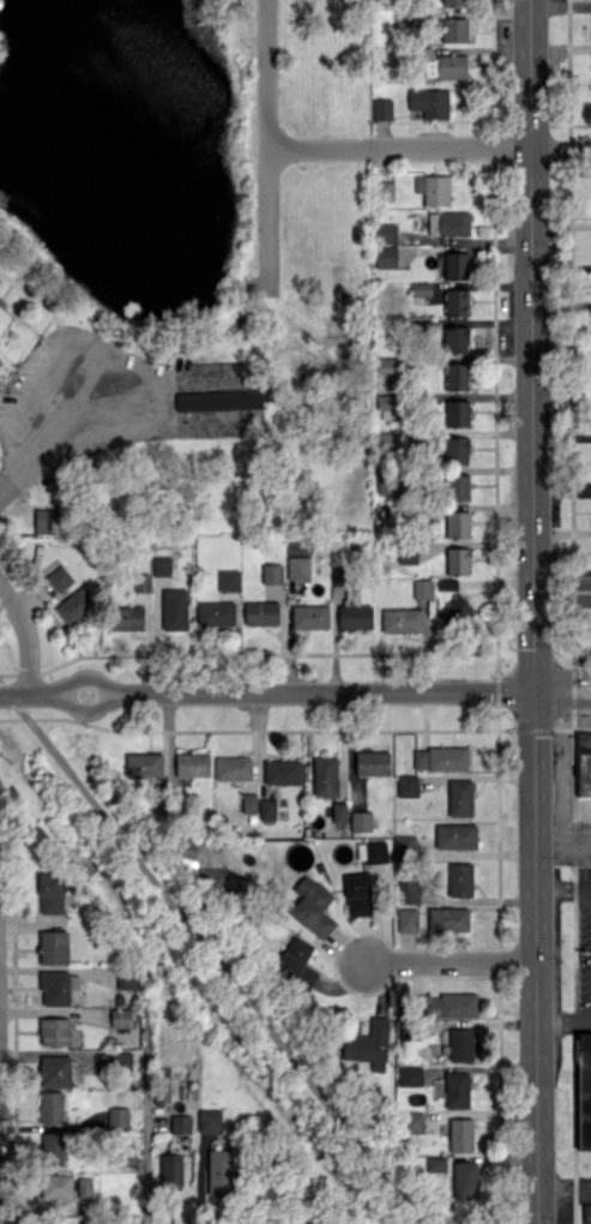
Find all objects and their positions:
building: (453, 1)
building: (454, 30)
building: (444, 66)
building: (429, 102)
building: (381, 109)
road: (266, 146)
road: (429, 146)
building: (432, 188)
building: (385, 190)
building: (447, 222)
building: (385, 233)
building: (385, 256)
building: (456, 265)
building: (420, 289)
building: (456, 302)
building: (454, 338)
building: (12, 340)
building: (386, 367)
building: (456, 376)
building: (221, 398)
building: (385, 402)
building: (456, 413)
road: (37, 414)
building: (457, 450)
building: (391, 482)
building: (456, 487)
building: (47, 521)
building: (457, 523)
building: (406, 556)
building: (457, 560)
building: (161, 565)
building: (297, 568)
building: (271, 574)
building: (59, 578)
building: (228, 580)
building: (446, 583)
building: (422, 588)
building: (74, 605)
building: (173, 608)
building: (456, 611)
building: (260, 612)
building: (354, 612)
road: (535, 612)
building: (216, 613)
building: (309, 616)
building: (126, 617)
building: (400, 619)
road: (25, 636)
road: (83, 680)
road: (562, 680)
road: (324, 690)
road: (26, 694)
road: (562, 697)
road: (84, 706)
building: (440, 757)
building: (372, 762)
building: (192, 763)
building: (584, 763)
building: (143, 764)
building: (233, 768)
building: (282, 772)
building: (324, 775)
building: (406, 785)
road: (563, 787)
building: (459, 797)
building: (248, 803)
building: (266, 809)
building: (338, 811)
building: (360, 821)
building: (456, 835)
road: (563, 842)
building: (406, 846)
building: (375, 851)
building: (206, 853)
building: (459, 878)
road: (563, 886)
building: (409, 892)
building: (49, 893)
building: (357, 894)
building: (312, 906)
building: (406, 919)
building: (447, 919)
building: (53, 947)
road: (210, 954)
road: (453, 960)
building: (295, 962)
building: (127, 978)
building: (58, 986)
building: (447, 1004)
building: (120, 1018)
road: (565, 1019)
building: (54, 1031)
building: (366, 1043)
building: (460, 1044)
building: (122, 1060)
building: (54, 1070)
building: (410, 1075)
building: (456, 1090)
building: (584, 1090)
road: (145, 1102)
building: (50, 1108)
building: (116, 1116)
building: (209, 1121)
building: (412, 1121)
building: (180, 1123)
building: (460, 1134)
building: (52, 1148)
building: (436, 1164)
building: (170, 1171)
building: (221, 1171)
building: (464, 1180)
building: (56, 1186)
building: (84, 1187)
road: (565, 1192)
building: (587, 1213)

